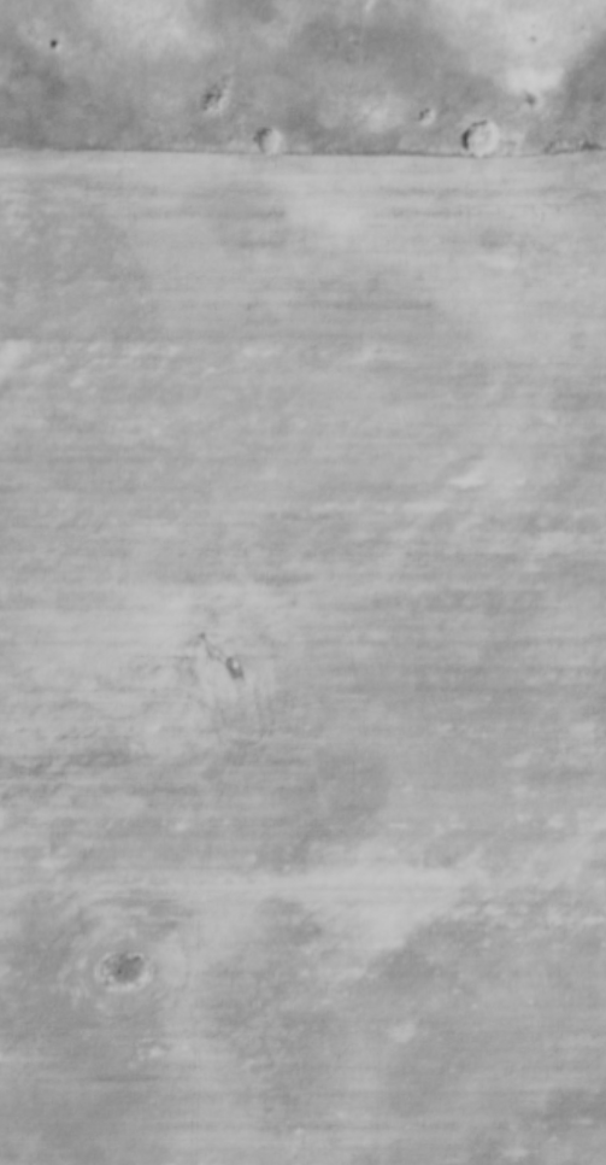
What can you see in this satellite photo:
power tower: (231, 666)

